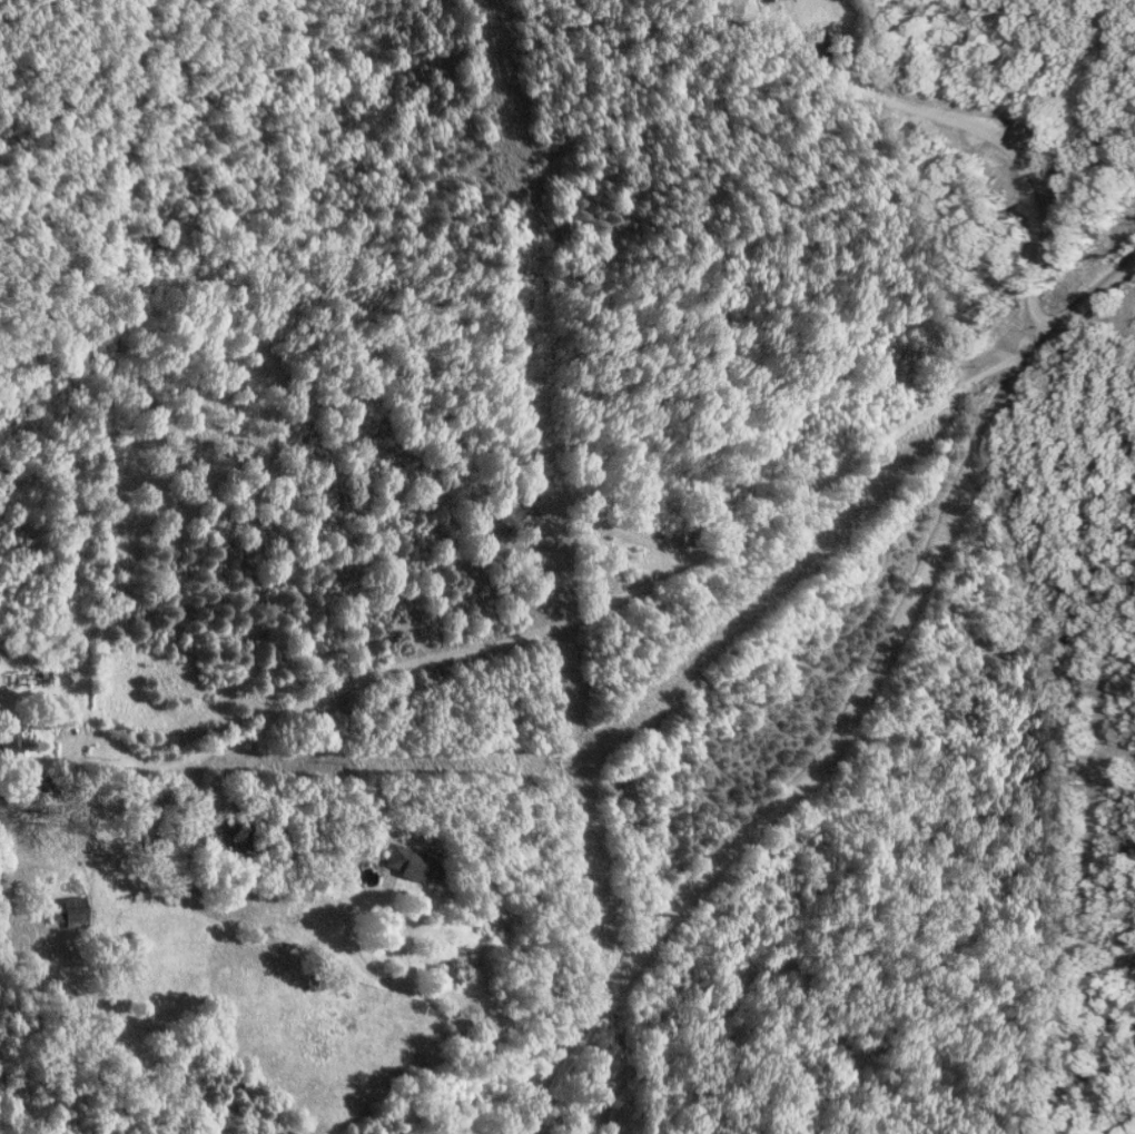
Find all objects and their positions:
building: (764, 4)
road: (981, 134)
building: (504, 525)
road: (575, 629)
road: (852, 712)
building: (9, 746)
building: (414, 865)
building: (71, 911)
road: (463, 1003)

